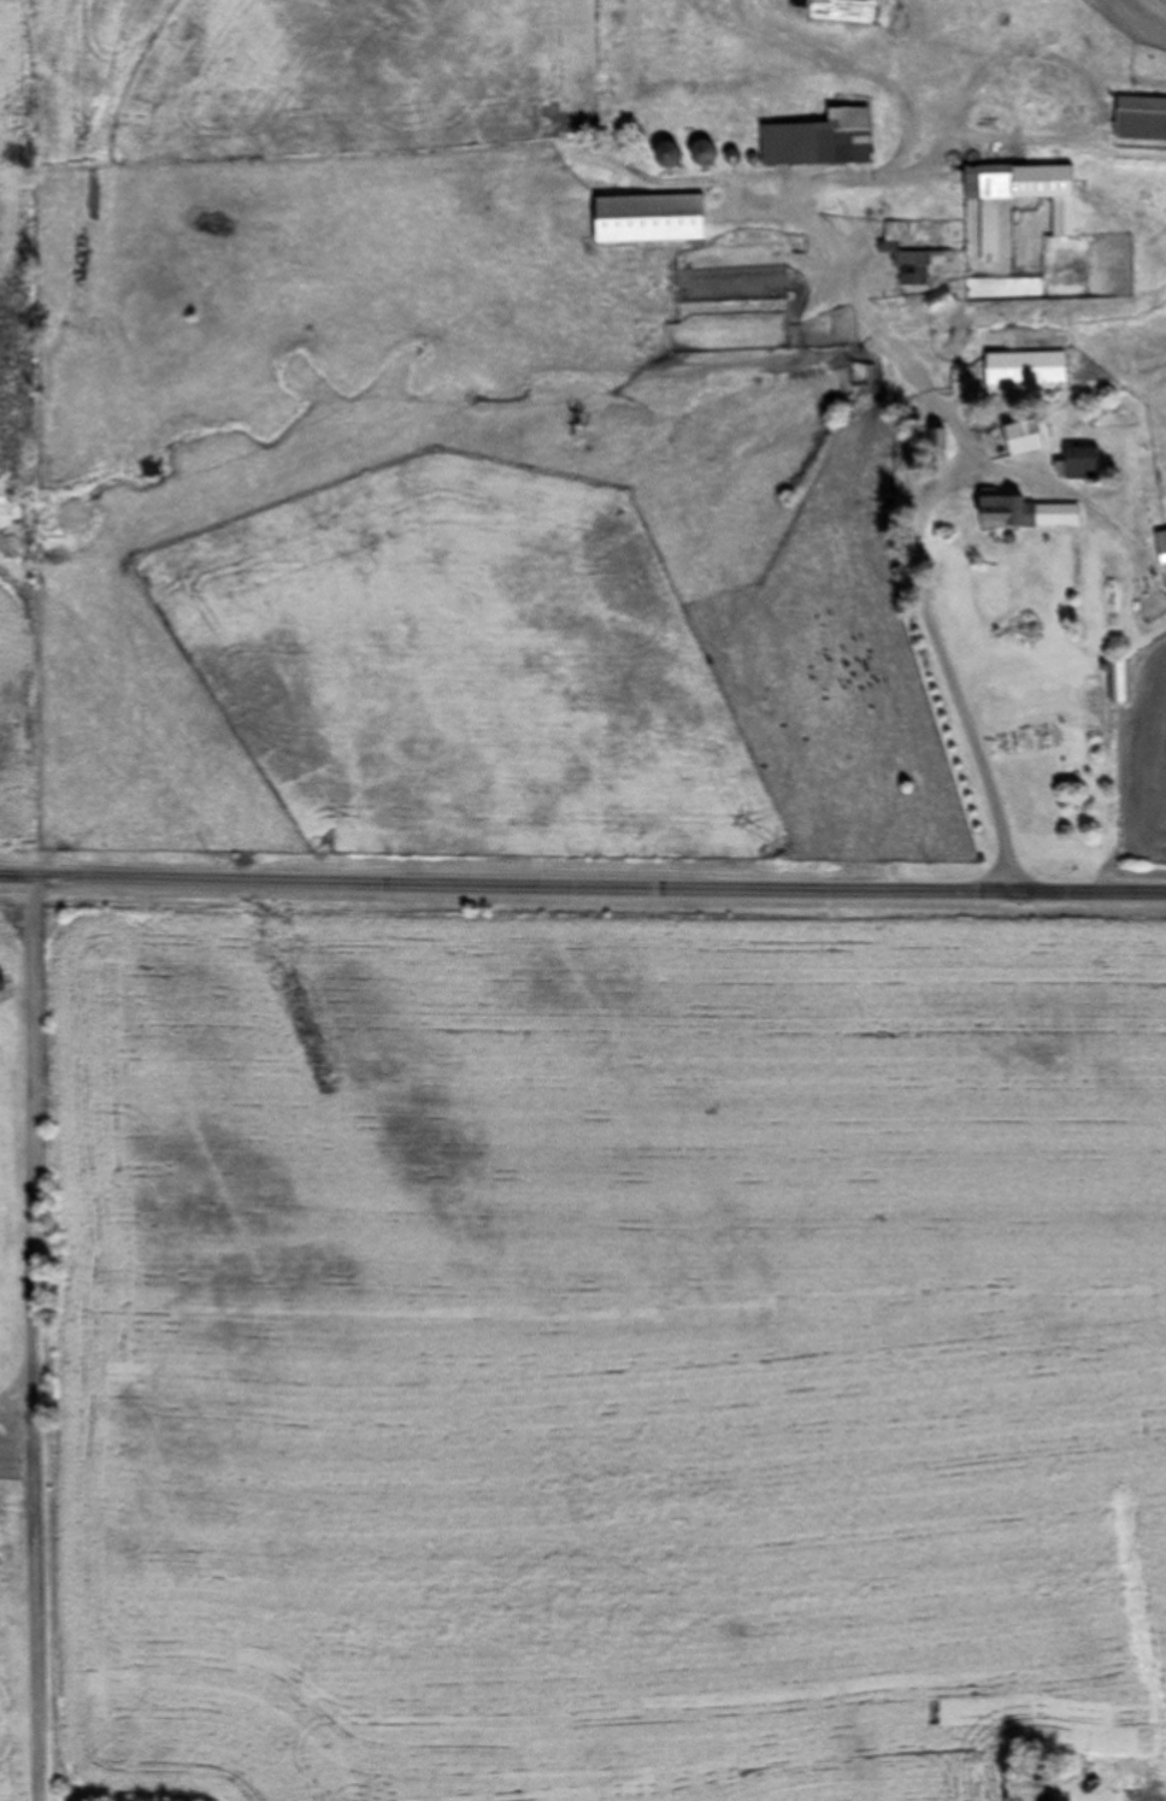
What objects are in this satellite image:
building: (847, 11)
building: (1139, 120)
building: (817, 142)
building: (662, 157)
building: (1018, 199)
building: (644, 220)
building: (918, 247)
building: (938, 301)
building: (648, 316)
building: (1026, 370)
building: (1023, 439)
building: (1079, 464)
building: (1024, 516)
building: (1160, 546)
building: (1120, 683)
building: (1106, 744)
road: (583, 871)

